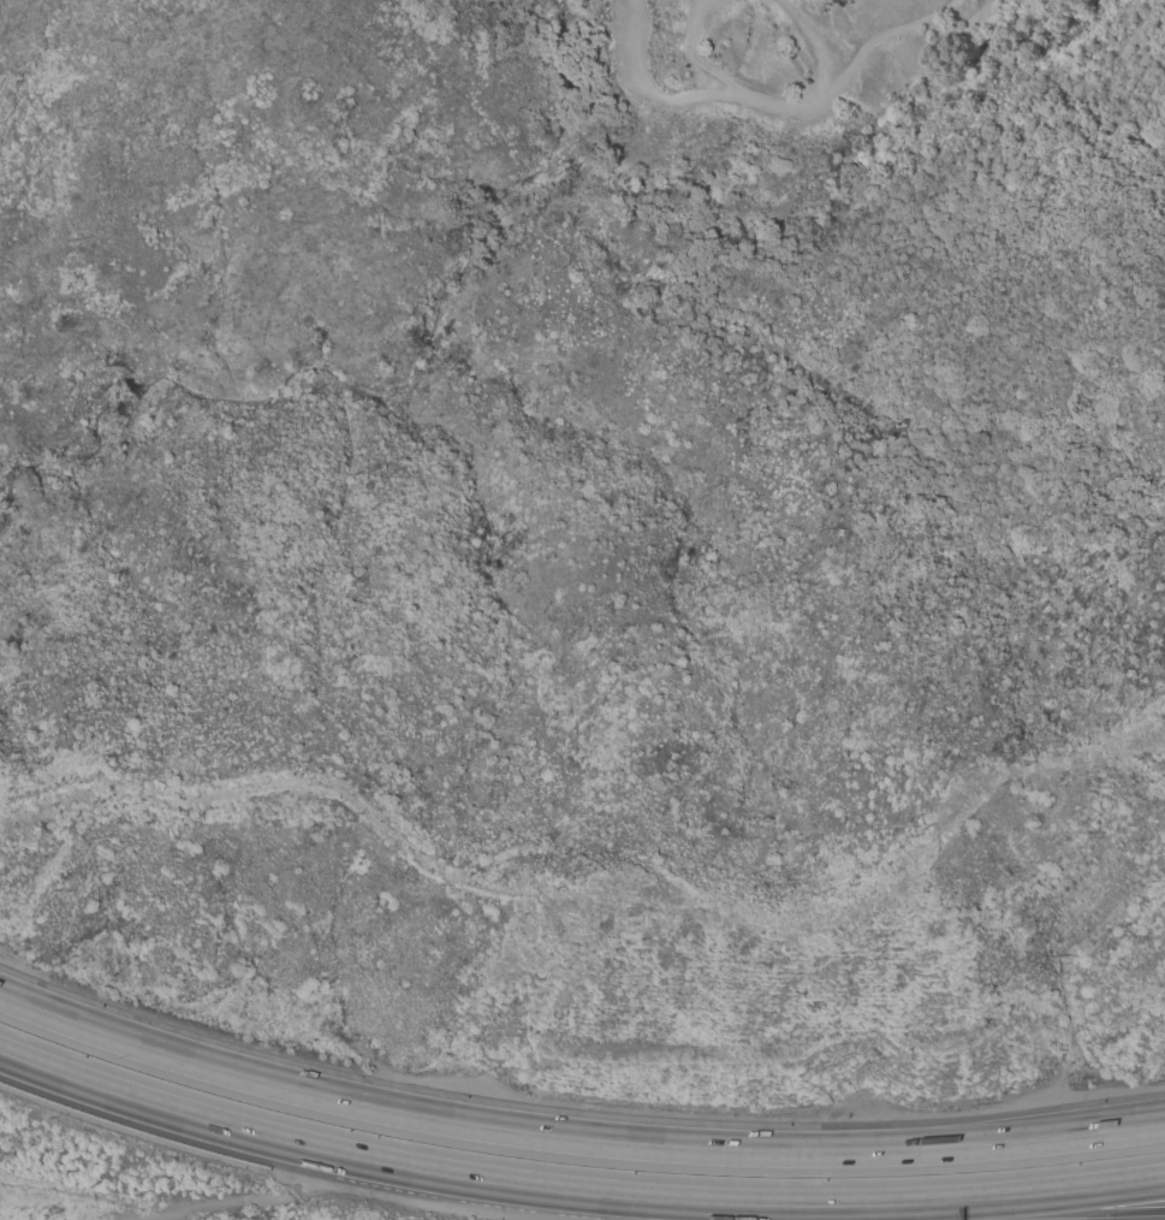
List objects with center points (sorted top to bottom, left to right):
road: (691, 97)
road: (1140, 1126)
road: (572, 1137)
road: (396, 1168)
road: (986, 1203)
road: (856, 1214)
road: (1069, 1214)

